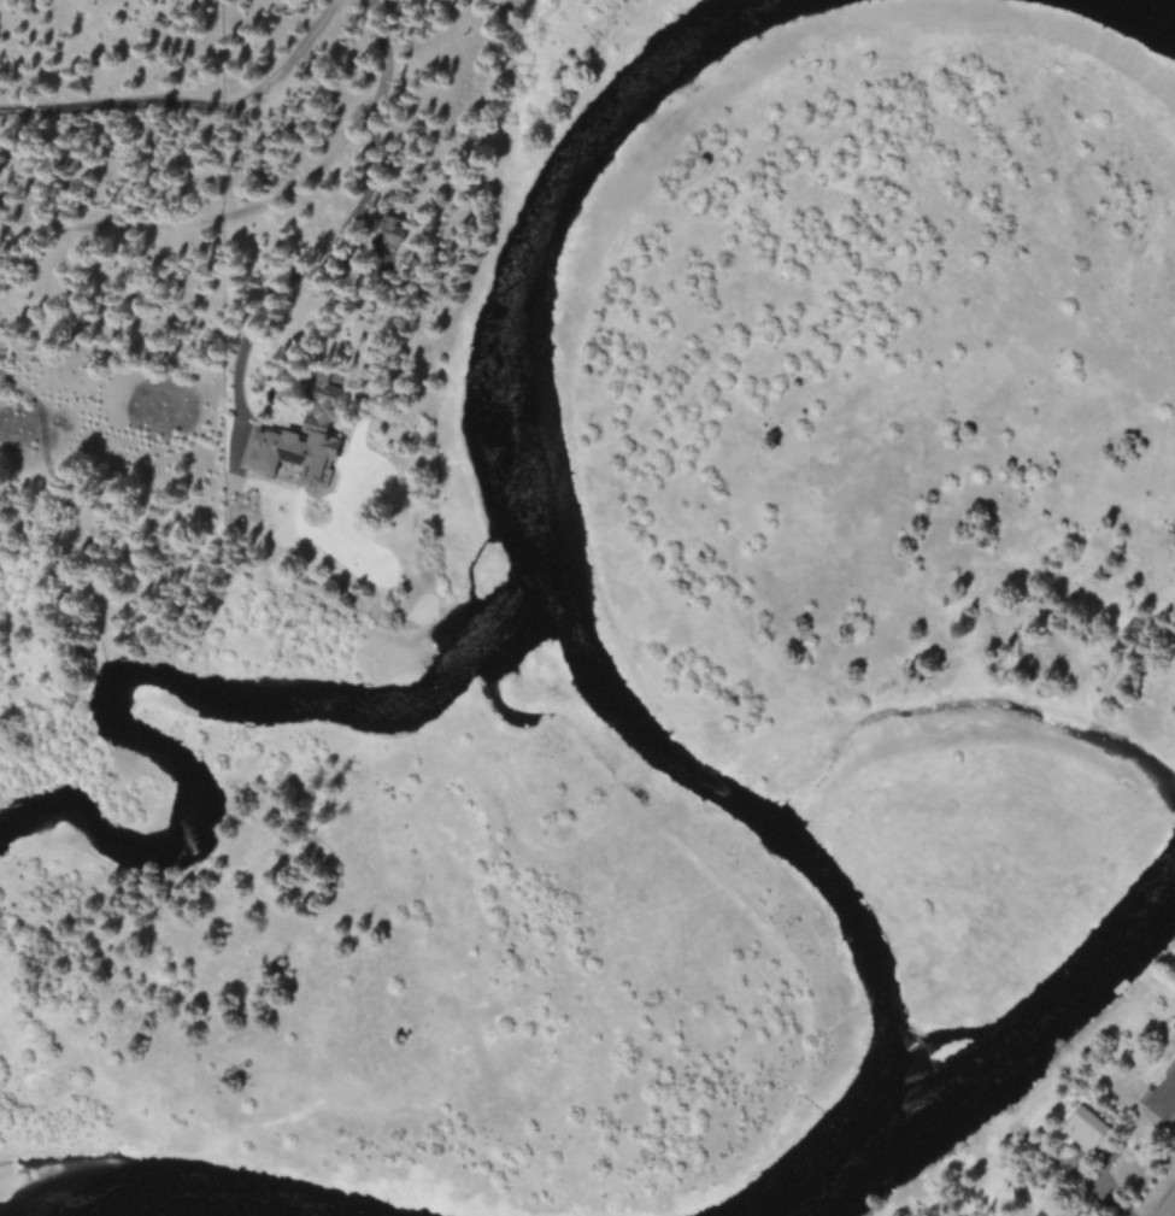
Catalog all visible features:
river: (1136, 13)
road: (192, 105)
building: (302, 447)
river: (564, 577)
river: (218, 705)
river: (994, 1065)
building: (1164, 1102)
building: (1089, 1130)
road: (1171, 1210)
river: (133, 1211)

